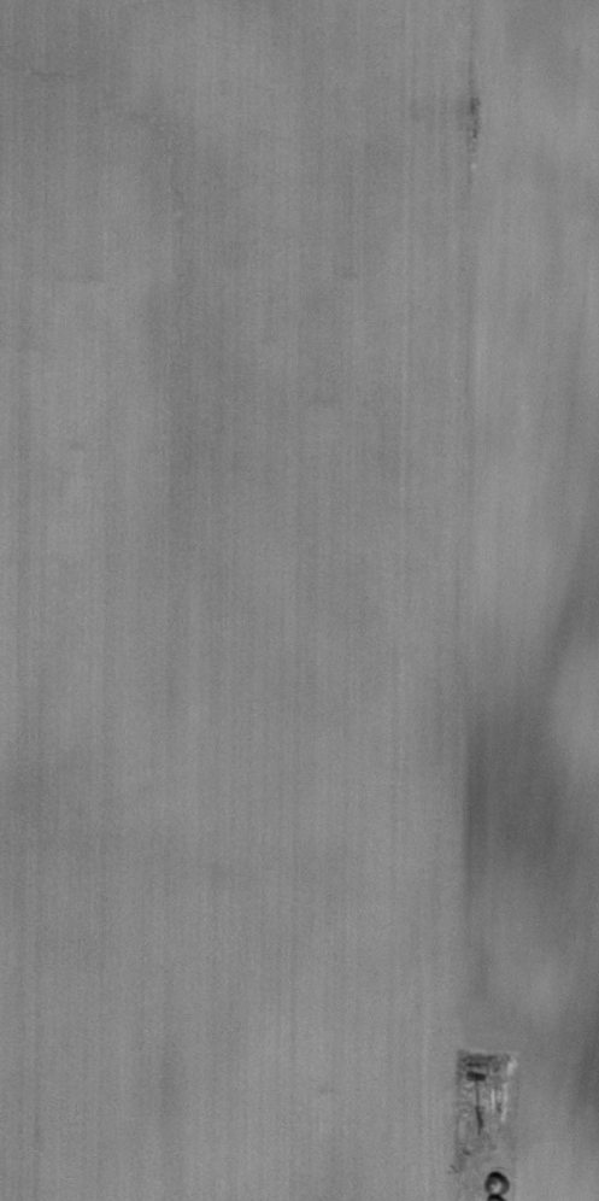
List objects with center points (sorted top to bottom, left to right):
road: (476, 1187)

